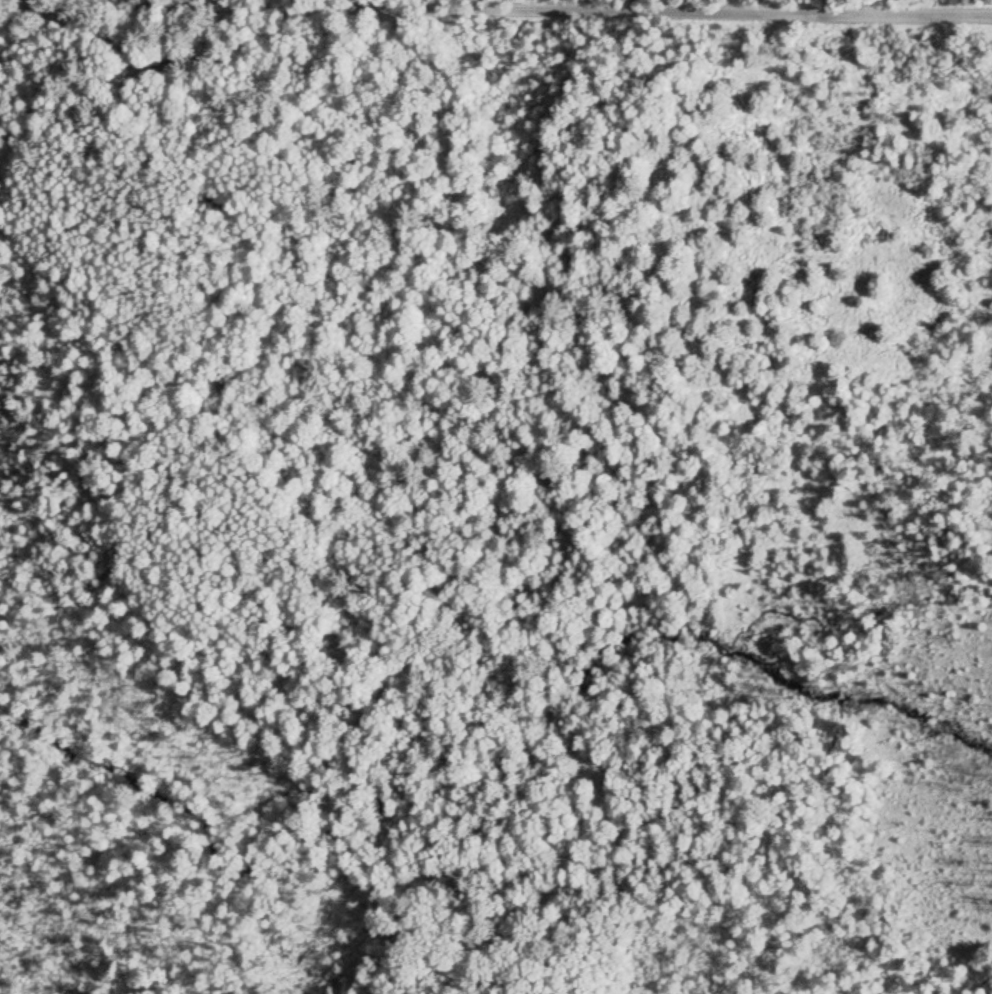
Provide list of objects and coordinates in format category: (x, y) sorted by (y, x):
road: (496, 6)

